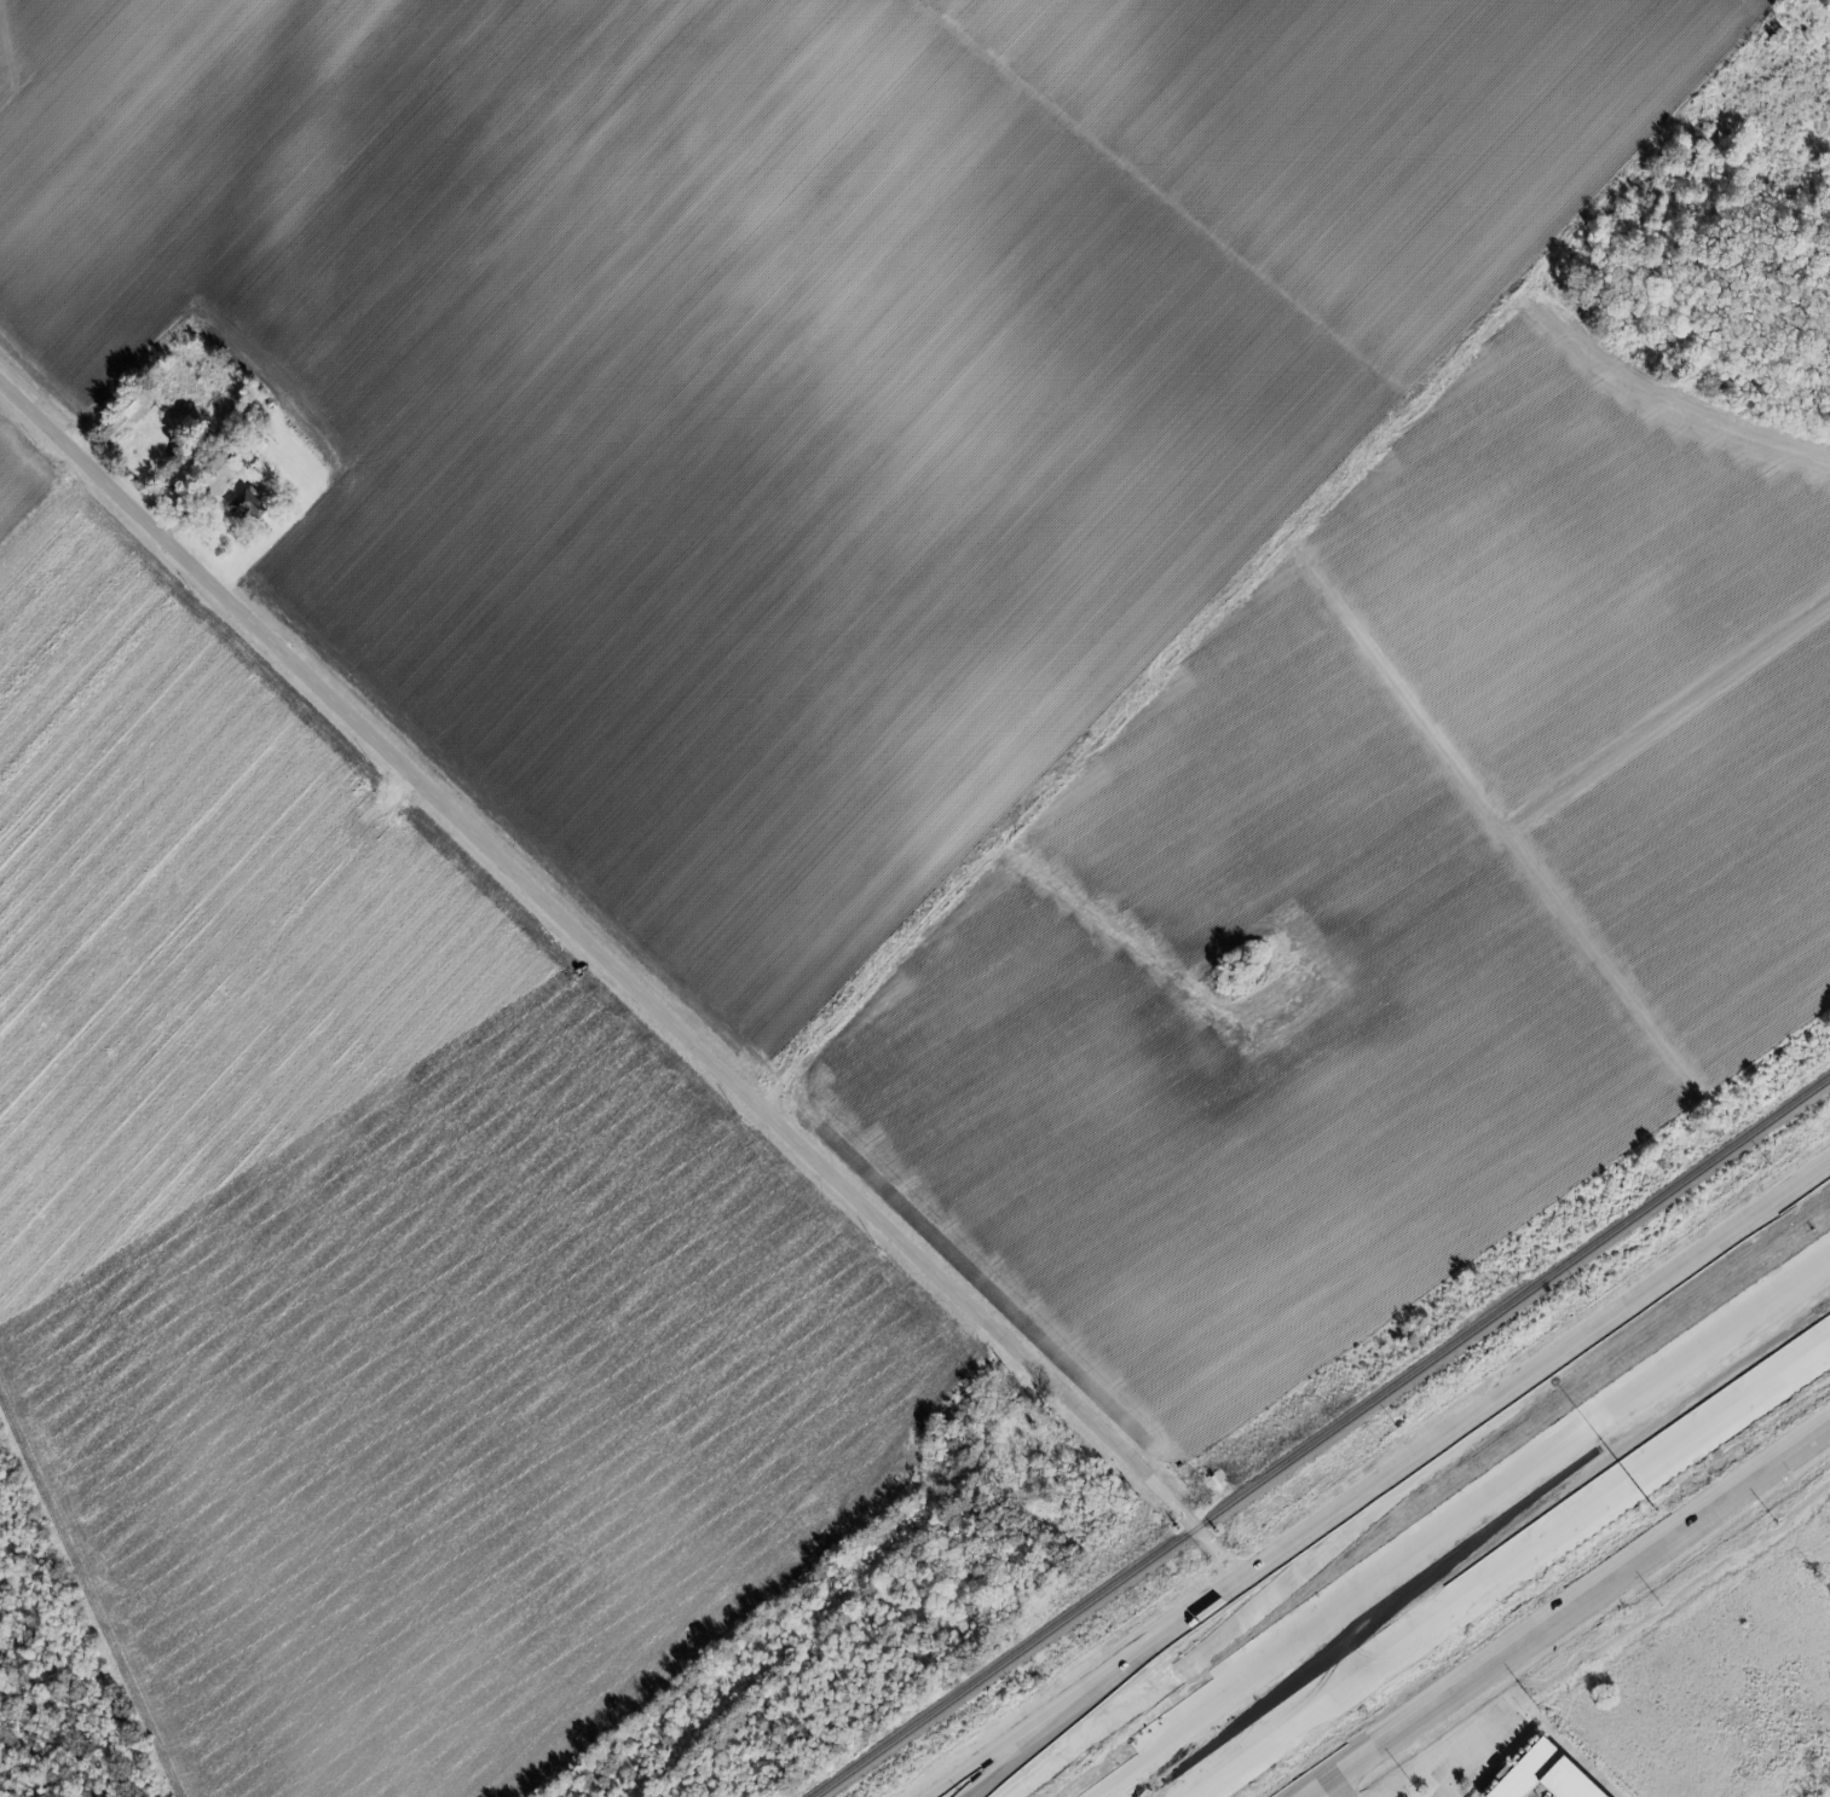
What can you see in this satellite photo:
road: (41, 495)
building: (248, 507)
road: (1234, 606)
road: (380, 739)
road: (321, 883)
road: (1734, 1322)
road: (1000, 1336)
road: (1537, 1374)
railway: (1322, 1437)
road: (1554, 1538)
road: (1278, 1591)
road: (1356, 1591)
road: (1574, 1597)
road: (1090, 1687)
road: (1382, 1722)
road: (1231, 1764)
building: (1553, 1775)
road: (1305, 1785)
road: (1328, 1785)

